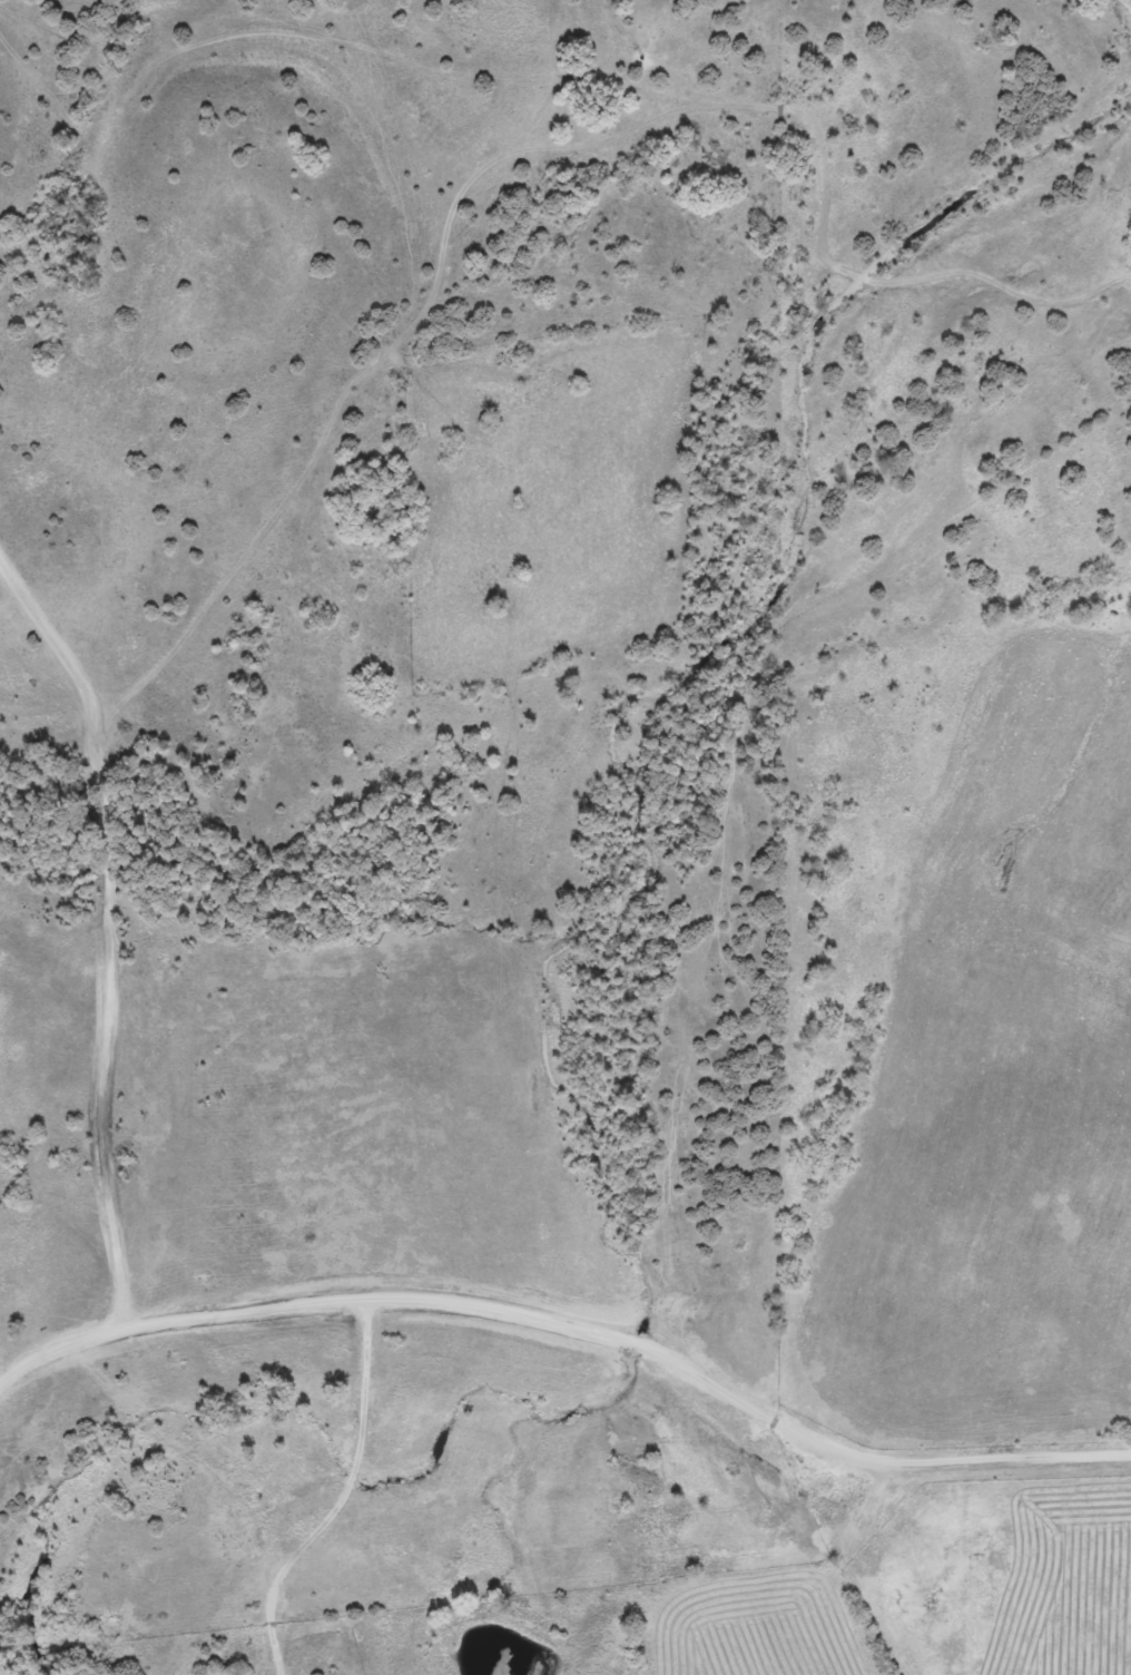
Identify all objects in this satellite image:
road: (104, 830)
road: (571, 1325)

